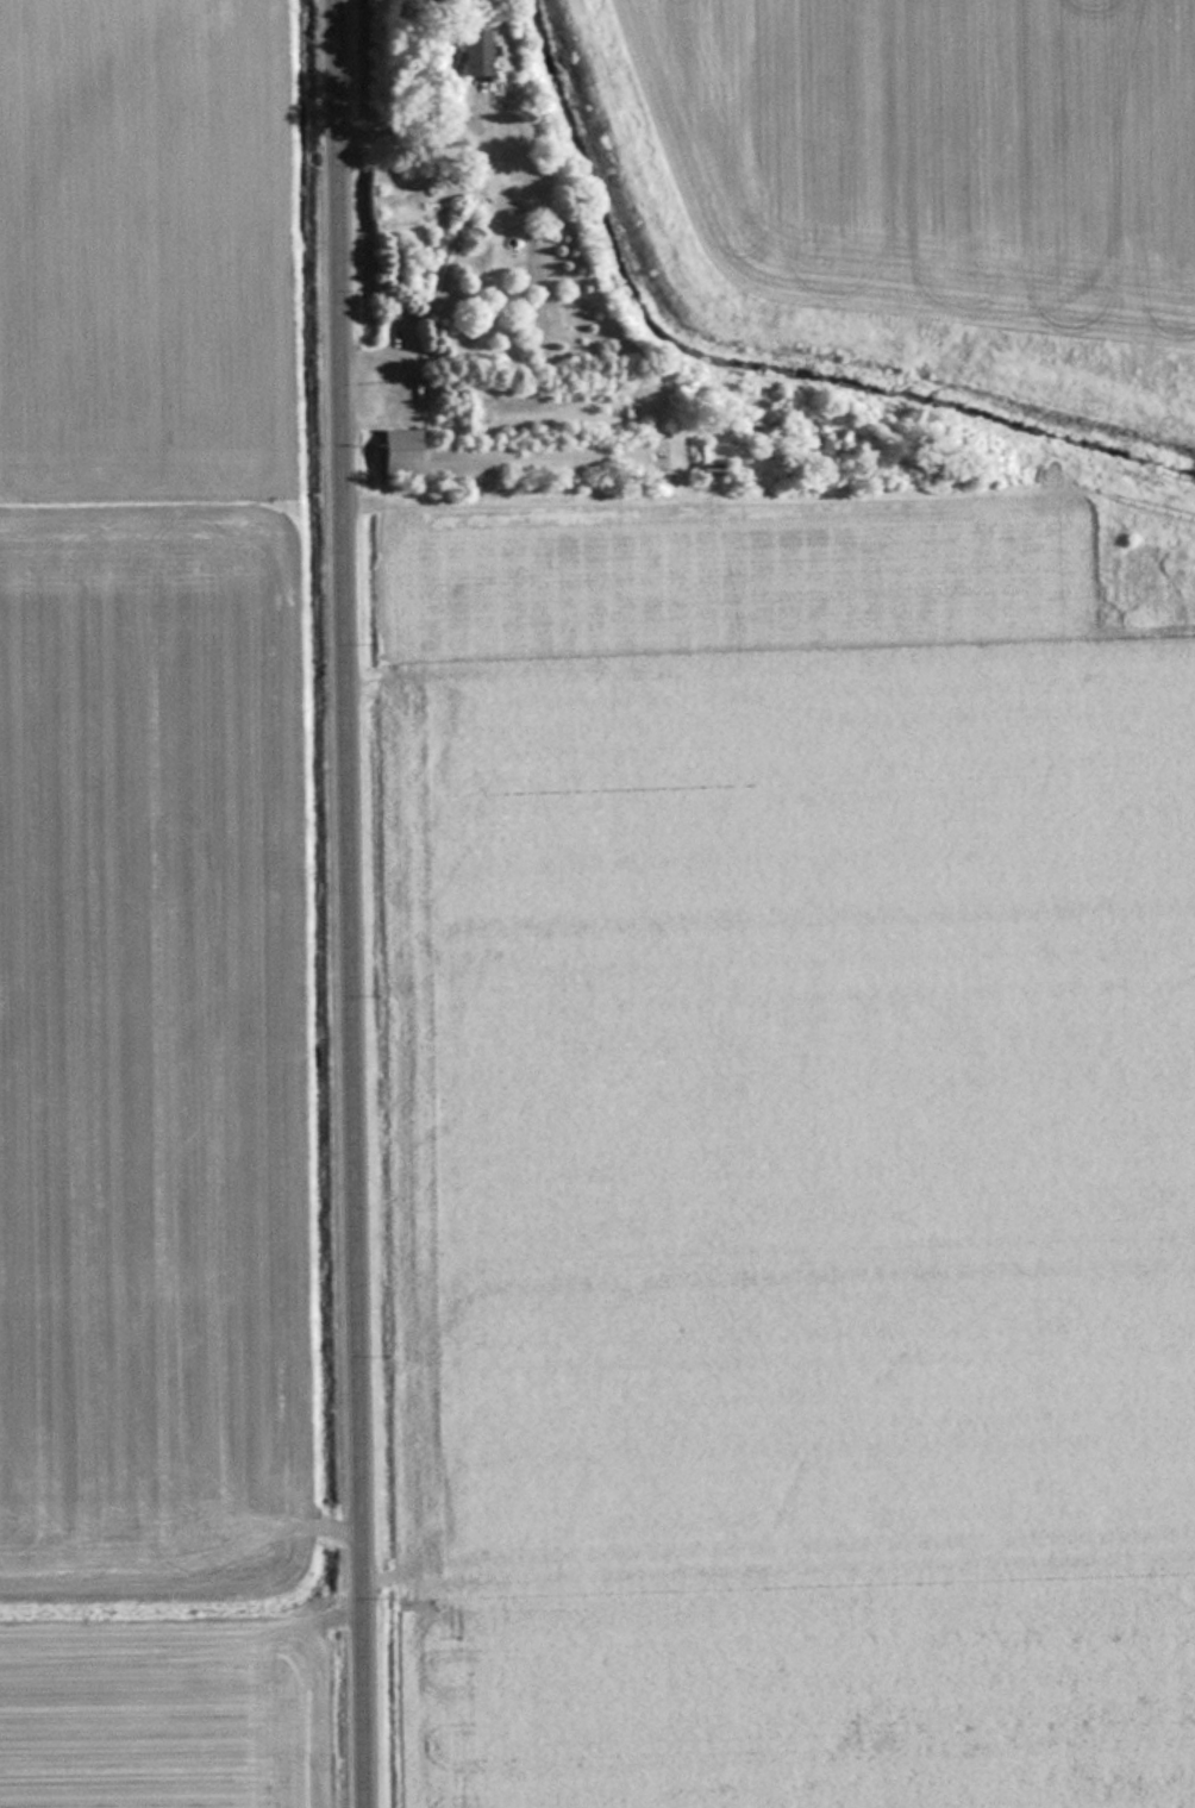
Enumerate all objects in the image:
building: (471, 52)
building: (501, 456)
road: (345, 903)

